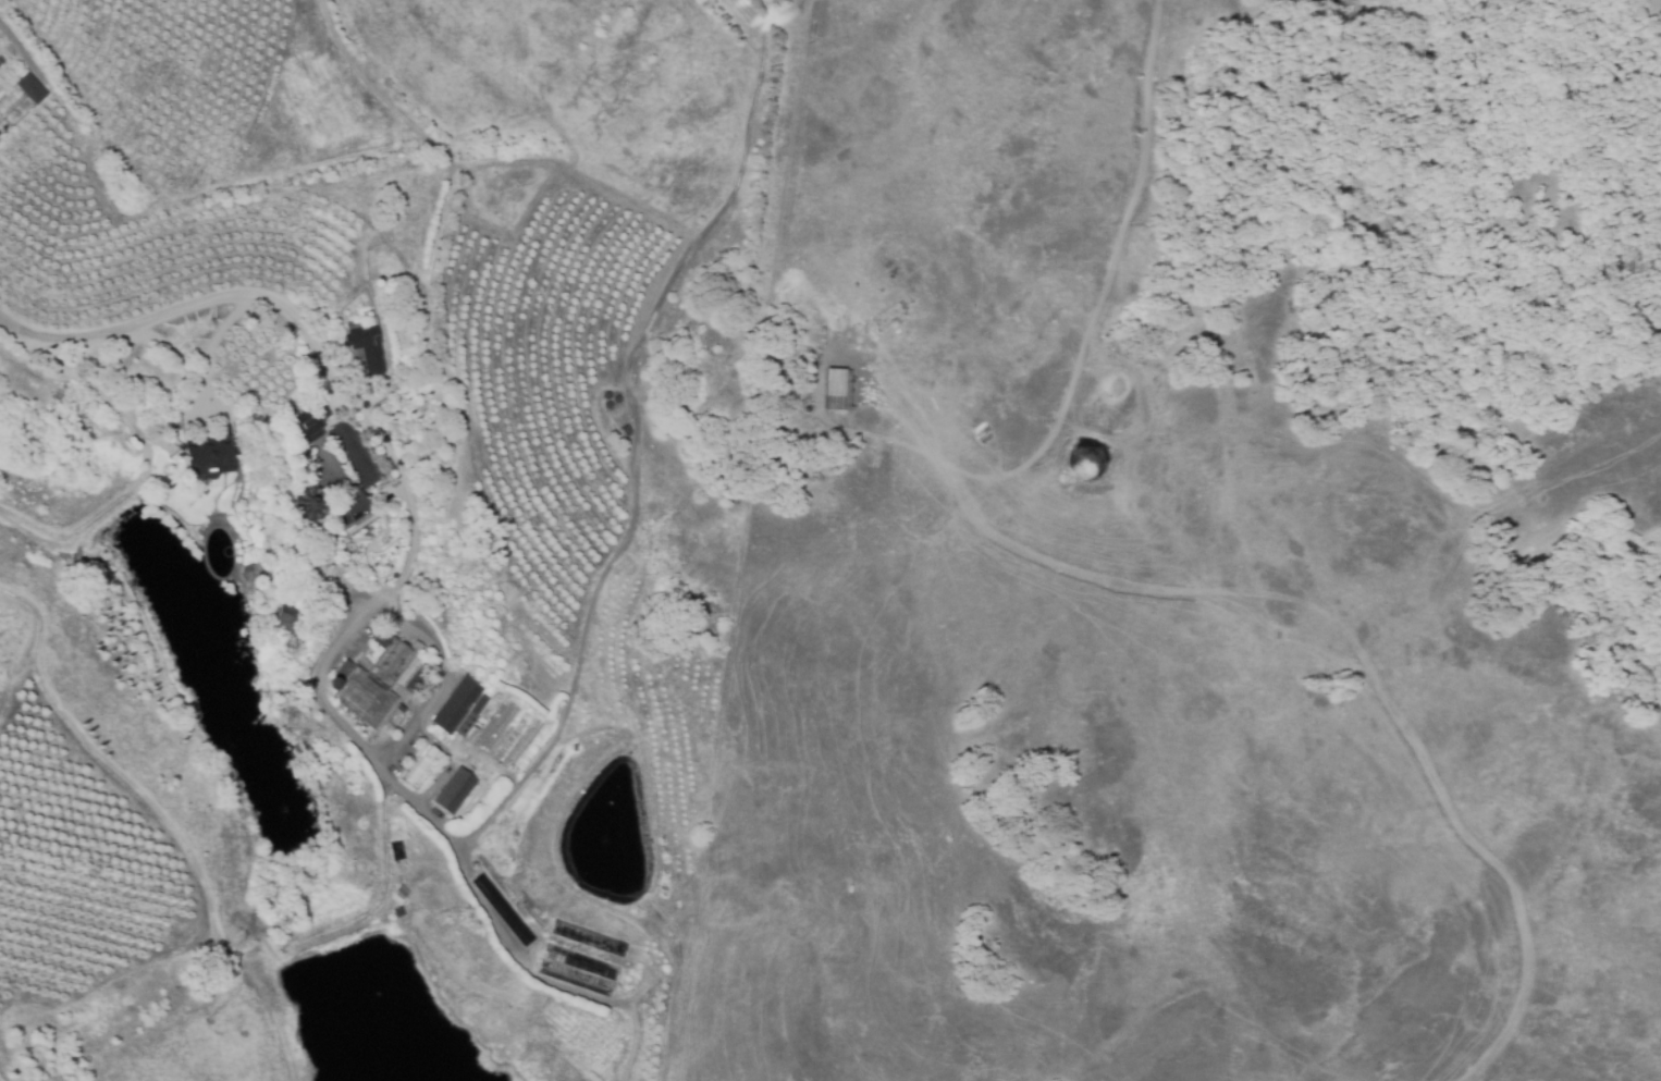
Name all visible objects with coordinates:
road: (21, 46)
building: (30, 88)
building: (367, 348)
building: (836, 390)
building: (342, 446)
building: (211, 459)
building: (354, 507)
building: (460, 704)
building: (422, 765)
building: (455, 790)
road: (417, 807)

